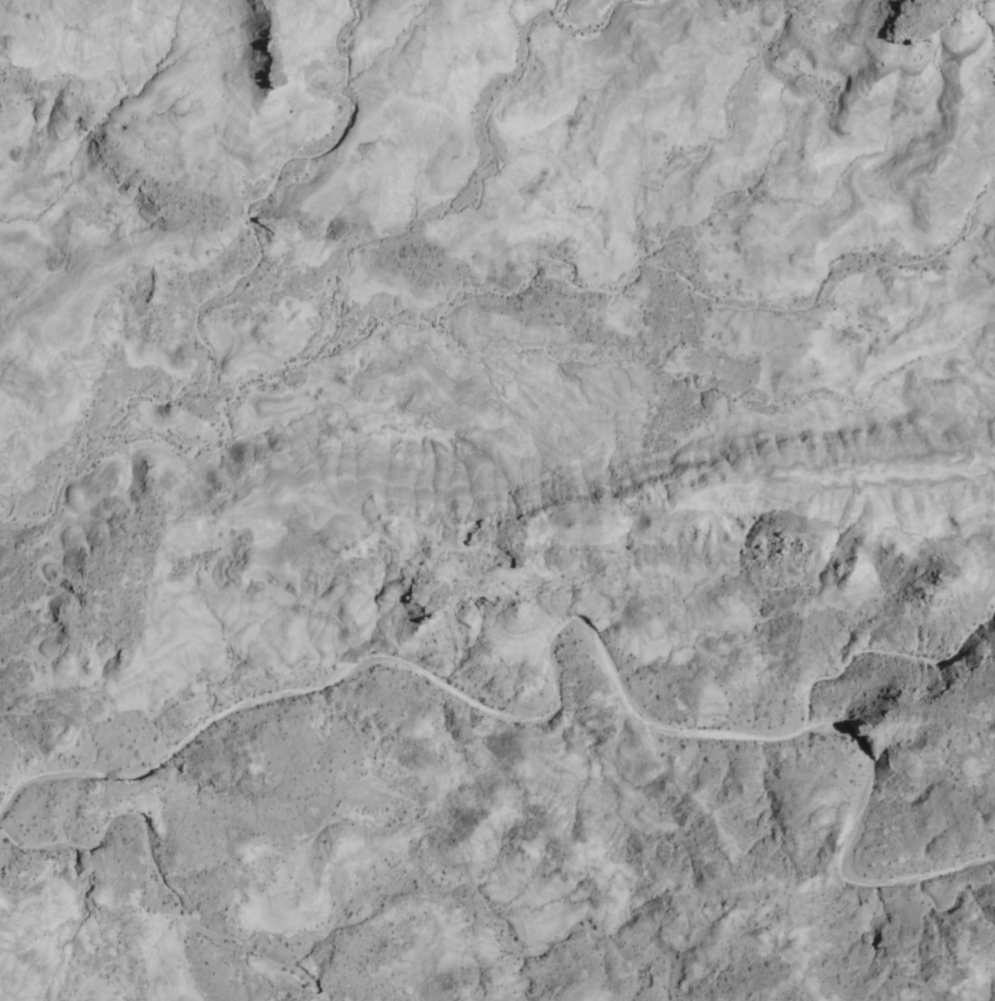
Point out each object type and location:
river: (544, 656)

